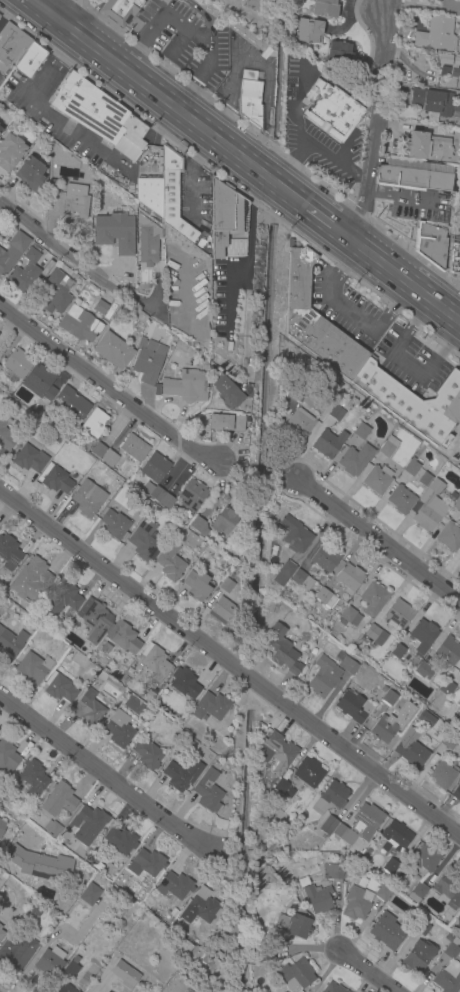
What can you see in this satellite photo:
building: (242, 0)
building: (451, 4)
road: (96, 6)
road: (386, 6)
road: (365, 7)
building: (326, 8)
road: (42, 9)
road: (61, 9)
building: (120, 10)
road: (196, 10)
road: (172, 19)
road: (83, 22)
building: (310, 31)
building: (436, 34)
parking lot: (185, 40)
road: (177, 43)
building: (11, 44)
building: (337, 50)
road: (208, 51)
road: (131, 54)
building: (29, 59)
road: (52, 65)
parking lot: (236, 67)
building: (451, 76)
road: (190, 97)
building: (251, 101)
building: (433, 102)
building: (457, 103)
road: (179, 111)
building: (331, 111)
building: (96, 112)
parking lot: (70, 125)
building: (0, 127)
road: (372, 127)
building: (0, 129)
parking lot: (316, 130)
building: (444, 131)
road: (79, 134)
building: (427, 146)
road: (199, 148)
building: (10, 151)
building: (149, 171)
park: (458, 171)
building: (30, 174)
building: (413, 178)
building: (52, 186)
road: (193, 194)
building: (167, 197)
parking lot: (195, 202)
building: (74, 203)
road: (424, 203)
parking lot: (407, 210)
road: (410, 214)
road: (325, 220)
building: (227, 221)
road: (251, 226)
building: (458, 230)
building: (114, 233)
building: (147, 240)
building: (430, 243)
building: (12, 252)
building: (454, 260)
road: (81, 265)
building: (26, 272)
road: (402, 278)
parking lot: (229, 291)
building: (57, 293)
road: (451, 299)
road: (228, 300)
parking lot: (346, 307)
building: (100, 308)
road: (348, 313)
building: (315, 320)
building: (79, 324)
building: (113, 351)
parking lot: (409, 360)
building: (148, 361)
building: (16, 365)
road: (402, 365)
building: (0, 369)
building: (40, 383)
building: (188, 387)
road: (107, 388)
building: (157, 390)
building: (227, 390)
building: (311, 401)
building: (413, 403)
building: (72, 404)
building: (337, 413)
building: (225, 423)
building: (299, 423)
building: (94, 424)
building: (361, 431)
building: (5, 436)
building: (328, 443)
building: (387, 446)
building: (133, 448)
building: (97, 449)
building: (108, 458)
building: (29, 459)
building: (354, 460)
building: (155, 467)
building: (411, 467)
building: (376, 478)
building: (424, 479)
building: (56, 480)
building: (157, 495)
building: (191, 495)
building: (87, 498)
building: (400, 500)
building: (456, 505)
building: (429, 508)
building: (224, 521)
building: (199, 522)
building: (115, 524)
building: (295, 535)
building: (449, 536)
building: (144, 540)
road: (380, 543)
building: (9, 552)
building: (459, 557)
building: (326, 558)
building: (172, 561)
building: (283, 573)
building: (349, 578)
building: (31, 579)
building: (302, 581)
building: (197, 585)
building: (227, 586)
building: (63, 597)
building: (326, 598)
building: (373, 598)
building: (223, 611)
building: (398, 615)
building: (350, 616)
building: (95, 620)
building: (424, 635)
building: (376, 636)
building: (123, 638)
building: (11, 641)
building: (105, 648)
building: (283, 651)
building: (448, 651)
building: (402, 655)
building: (154, 662)
road: (230, 662)
building: (345, 663)
building: (34, 668)
building: (423, 670)
building: (459, 670)
building: (101, 675)
building: (324, 677)
building: (184, 683)
building: (60, 688)
building: (447, 688)
building: (383, 689)
building: (149, 696)
building: (390, 698)
building: (352, 706)
building: (210, 707)
building: (89, 709)
building: (427, 720)
building: (119, 729)
building: (384, 729)
building: (181, 734)
building: (449, 742)
building: (279, 751)
building: (412, 752)
building: (148, 754)
building: (7, 756)
building: (434, 759)
building: (455, 764)
road: (106, 773)
building: (309, 773)
building: (181, 774)
building: (442, 776)
building: (33, 777)
building: (279, 788)
building: (207, 791)
building: (289, 792)
building: (457, 794)
building: (331, 798)
building: (58, 799)
building: (86, 825)
building: (360, 825)
building: (328, 826)
building: (2, 827)
building: (51, 828)
building: (395, 837)
building: (121, 841)
building: (426, 859)
building: (146, 864)
building: (391, 865)
building: (95, 866)
building: (45, 867)
building: (332, 871)
building: (175, 886)
building: (448, 891)
building: (418, 892)
building: (382, 893)
building: (90, 895)
building: (318, 900)
building: (357, 903)
building: (203, 905)
building: (173, 913)
building: (423, 927)
building: (290, 928)
building: (386, 932)
building: (1, 935)
building: (451, 950)
building: (17, 952)
building: (263, 954)
building: (418, 956)
building: (50, 962)
building: (72, 967)
road: (364, 972)
building: (124, 975)
building: (296, 975)
building: (448, 981)
building: (334, 987)
building: (63, 989)
building: (459, 991)

